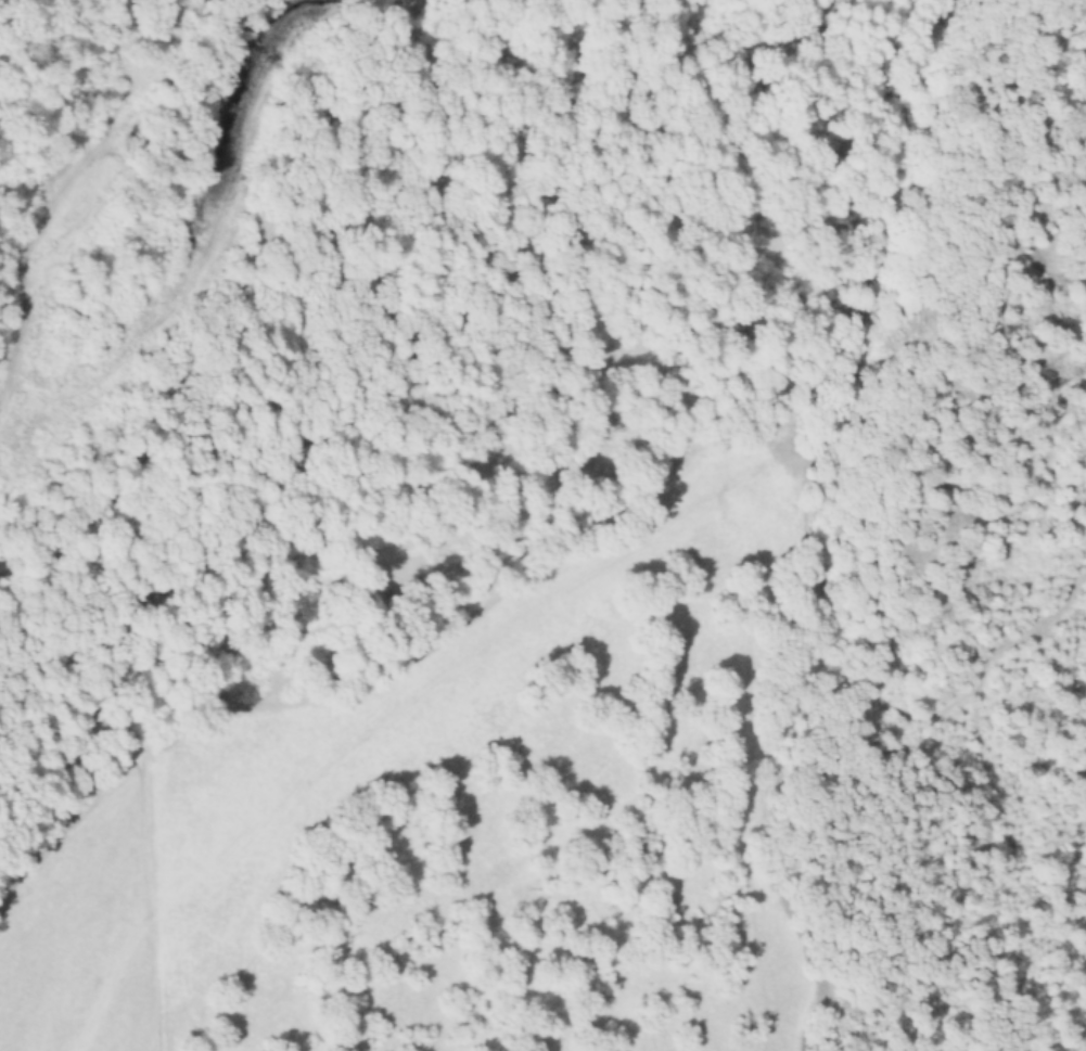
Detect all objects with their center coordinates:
road: (896, 216)

